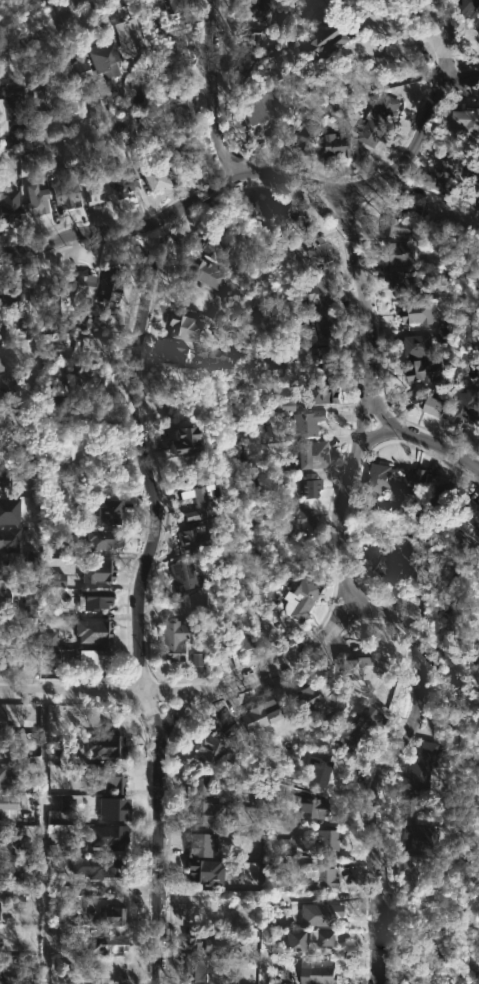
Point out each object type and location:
building: (183, 4)
building: (465, 9)
building: (258, 11)
road: (44, 33)
building: (136, 37)
building: (338, 42)
building: (247, 50)
road: (462, 65)
building: (73, 66)
road: (217, 87)
building: (41, 94)
building: (187, 104)
building: (14, 105)
building: (260, 107)
building: (380, 116)
building: (463, 116)
building: (305, 134)
building: (6, 136)
building: (340, 146)
road: (394, 172)
building: (442, 172)
building: (157, 178)
building: (97, 185)
building: (123, 185)
building: (67, 190)
building: (36, 200)
building: (414, 201)
building: (9, 206)
building: (256, 206)
building: (307, 219)
building: (397, 225)
road: (133, 230)
building: (212, 247)
building: (322, 253)
building: (400, 255)
building: (205, 273)
building: (403, 284)
building: (108, 288)
building: (324, 290)
building: (82, 291)
building: (45, 292)
building: (11, 296)
building: (414, 312)
building: (100, 316)
building: (447, 323)
building: (328, 324)
building: (186, 327)
building: (444, 336)
building: (415, 345)
building: (87, 347)
building: (176, 354)
building: (1, 356)
building: (218, 357)
building: (333, 357)
building: (423, 369)
building: (87, 377)
building: (326, 391)
building: (3, 396)
road: (368, 399)
building: (465, 403)
building: (63, 404)
building: (427, 405)
building: (285, 406)
building: (5, 411)
building: (306, 424)
road: (425, 436)
building: (190, 440)
building: (6, 447)
building: (311, 453)
road: (140, 458)
building: (0, 474)
building: (384, 478)
building: (415, 479)
building: (312, 483)
building: (441, 496)
building: (199, 503)
building: (108, 509)
building: (9, 511)
building: (300, 514)
building: (466, 518)
building: (63, 537)
building: (198, 538)
building: (9, 539)
building: (105, 539)
building: (389, 568)
building: (98, 570)
building: (184, 573)
building: (55, 581)
building: (8, 594)
building: (305, 599)
building: (93, 600)
building: (274, 621)
building: (93, 631)
building: (240, 638)
building: (47, 639)
building: (172, 639)
building: (3, 659)
building: (91, 659)
building: (54, 660)
building: (196, 660)
building: (370, 664)
road: (189, 697)
building: (308, 699)
building: (264, 715)
building: (2, 717)
building: (225, 727)
building: (358, 729)
building: (106, 747)
building: (215, 750)
building: (0, 751)
road: (387, 762)
building: (423, 763)
building: (318, 771)
building: (108, 778)
building: (10, 782)
building: (201, 784)
building: (9, 802)
building: (409, 804)
building: (66, 805)
building: (113, 809)
building: (313, 809)
building: (205, 813)
building: (105, 836)
road: (42, 838)
road: (158, 840)
building: (415, 840)
building: (326, 841)
building: (204, 843)
building: (2, 848)
building: (96, 867)
building: (206, 872)
building: (406, 874)
building: (323, 875)
building: (10, 877)
building: (320, 915)
building: (114, 916)
building: (323, 938)
building: (0, 939)
building: (295, 941)
building: (203, 942)
building: (106, 944)
building: (109, 970)
building: (197, 971)
building: (324, 974)
building: (16, 979)

